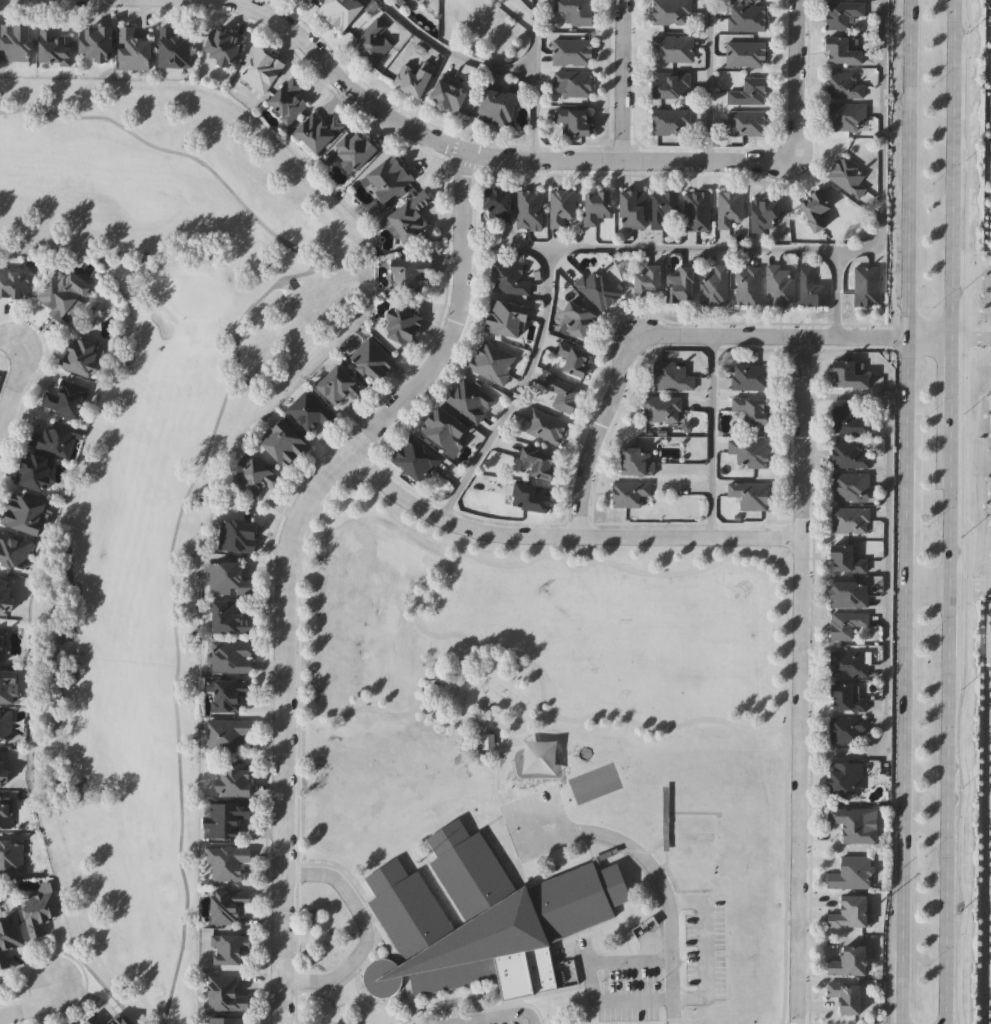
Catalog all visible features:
building: (308, 0)
building: (413, 0)
building: (575, 10)
building: (338, 11)
building: (670, 12)
building: (841, 12)
building: (746, 17)
building: (17, 41)
building: (371, 41)
building: (99, 42)
building: (56, 45)
building: (220, 45)
building: (175, 47)
building: (671, 47)
building: (135, 49)
road: (453, 50)
building: (840, 50)
building: (571, 51)
building: (744, 53)
building: (261, 69)
road: (535, 77)
road: (796, 78)
building: (410, 79)
road: (622, 79)
road: (709, 80)
building: (572, 82)
building: (670, 84)
building: (843, 84)
building: (748, 90)
building: (445, 95)
building: (287, 99)
building: (495, 106)
building: (846, 115)
building: (574, 120)
building: (670, 121)
building: (746, 122)
building: (316, 130)
road: (882, 141)
building: (351, 149)
road: (494, 151)
road: (909, 168)
road: (953, 168)
building: (847, 174)
building: (387, 177)
building: (495, 204)
building: (595, 205)
building: (561, 206)
building: (662, 206)
building: (528, 207)
building: (728, 207)
building: (631, 208)
building: (813, 208)
building: (696, 210)
building: (763, 214)
building: (407, 217)
road: (508, 248)
road: (694, 249)
building: (408, 274)
building: (509, 277)
building: (646, 280)
building: (14, 283)
building: (679, 284)
building: (866, 284)
building: (714, 285)
building: (748, 285)
building: (779, 285)
building: (597, 288)
building: (810, 288)
building: (62, 293)
road: (837, 293)
building: (503, 317)
building: (576, 320)
building: (399, 324)
road: (10, 336)
road: (771, 336)
road: (929, 337)
road: (971, 337)
building: (84, 357)
building: (572, 357)
building: (371, 359)
building: (491, 361)
building: (848, 373)
building: (671, 375)
building: (750, 376)
building: (337, 384)
road: (14, 385)
road: (520, 389)
road: (952, 390)
building: (562, 393)
building: (66, 397)
building: (468, 398)
building: (662, 408)
building: (750, 409)
building: (309, 411)
building: (848, 419)
building: (544, 426)
building: (443, 429)
road: (596, 435)
road: (712, 436)
building: (54, 438)
building: (283, 443)
building: (750, 452)
building: (849, 455)
building: (414, 458)
building: (537, 462)
building: (635, 462)
building: (36, 472)
park: (155, 474)
road: (351, 474)
building: (255, 477)
building: (850, 486)
building: (629, 493)
building: (748, 495)
building: (531, 498)
road: (317, 511)
building: (25, 513)
building: (849, 520)
road: (562, 533)
building: (237, 535)
building: (14, 550)
road: (282, 554)
road: (566, 556)
road: (591, 556)
road: (455, 557)
road: (774, 559)
building: (845, 559)
road: (607, 562)
road: (887, 575)
building: (228, 578)
road: (925, 588)
road: (971, 588)
building: (848, 594)
building: (5, 595)
building: (227, 618)
building: (845, 623)
park: (536, 639)
building: (988, 639)
building: (2, 644)
road: (475, 647)
building: (230, 656)
building: (848, 663)
road: (800, 680)
road: (899, 680)
building: (9, 686)
building: (228, 694)
building: (845, 698)
road: (424, 703)
road: (545, 710)
road: (423, 711)
building: (5, 725)
building: (845, 728)
road: (747, 729)
road: (950, 733)
building: (226, 734)
building: (487, 743)
building: (3, 768)
building: (845, 777)
building: (233, 779)
building: (6, 812)
building: (225, 818)
building: (853, 824)
building: (688, 838)
building: (11, 856)
building: (226, 860)
building: (851, 872)
road: (665, 899)
building: (225, 904)
building: (40, 911)
building: (848, 912)
building: (480, 919)
road: (365, 930)
building: (8, 938)
building: (227, 947)
road: (706, 949)
building: (849, 961)
road: (586, 981)
building: (223, 993)
building: (844, 996)
road: (33, 1006)
road: (60, 1010)
road: (498, 1016)
building: (121, 1020)
building: (226, 1020)
building: (94, 1021)

